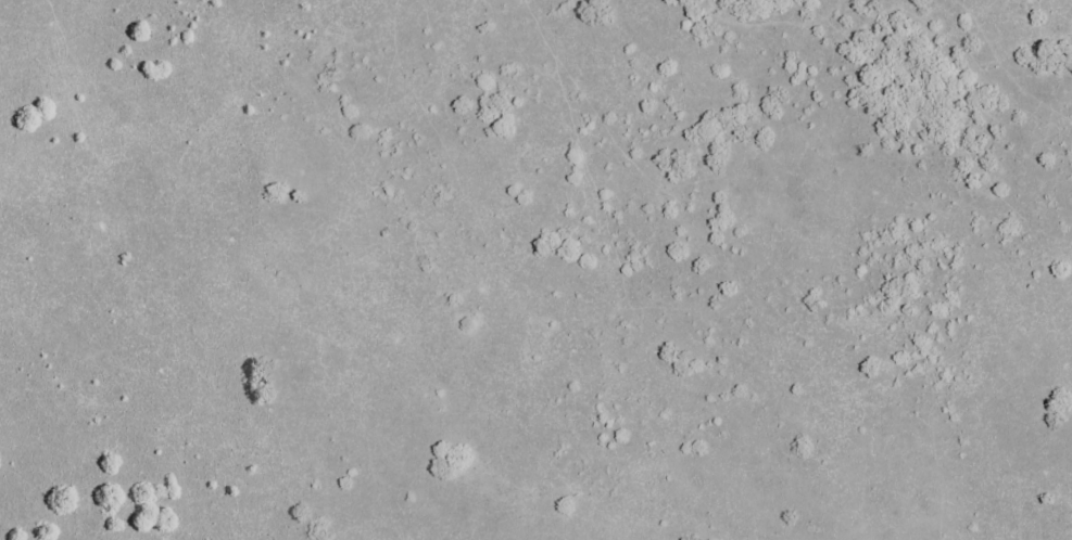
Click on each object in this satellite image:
road: (1060, 530)

